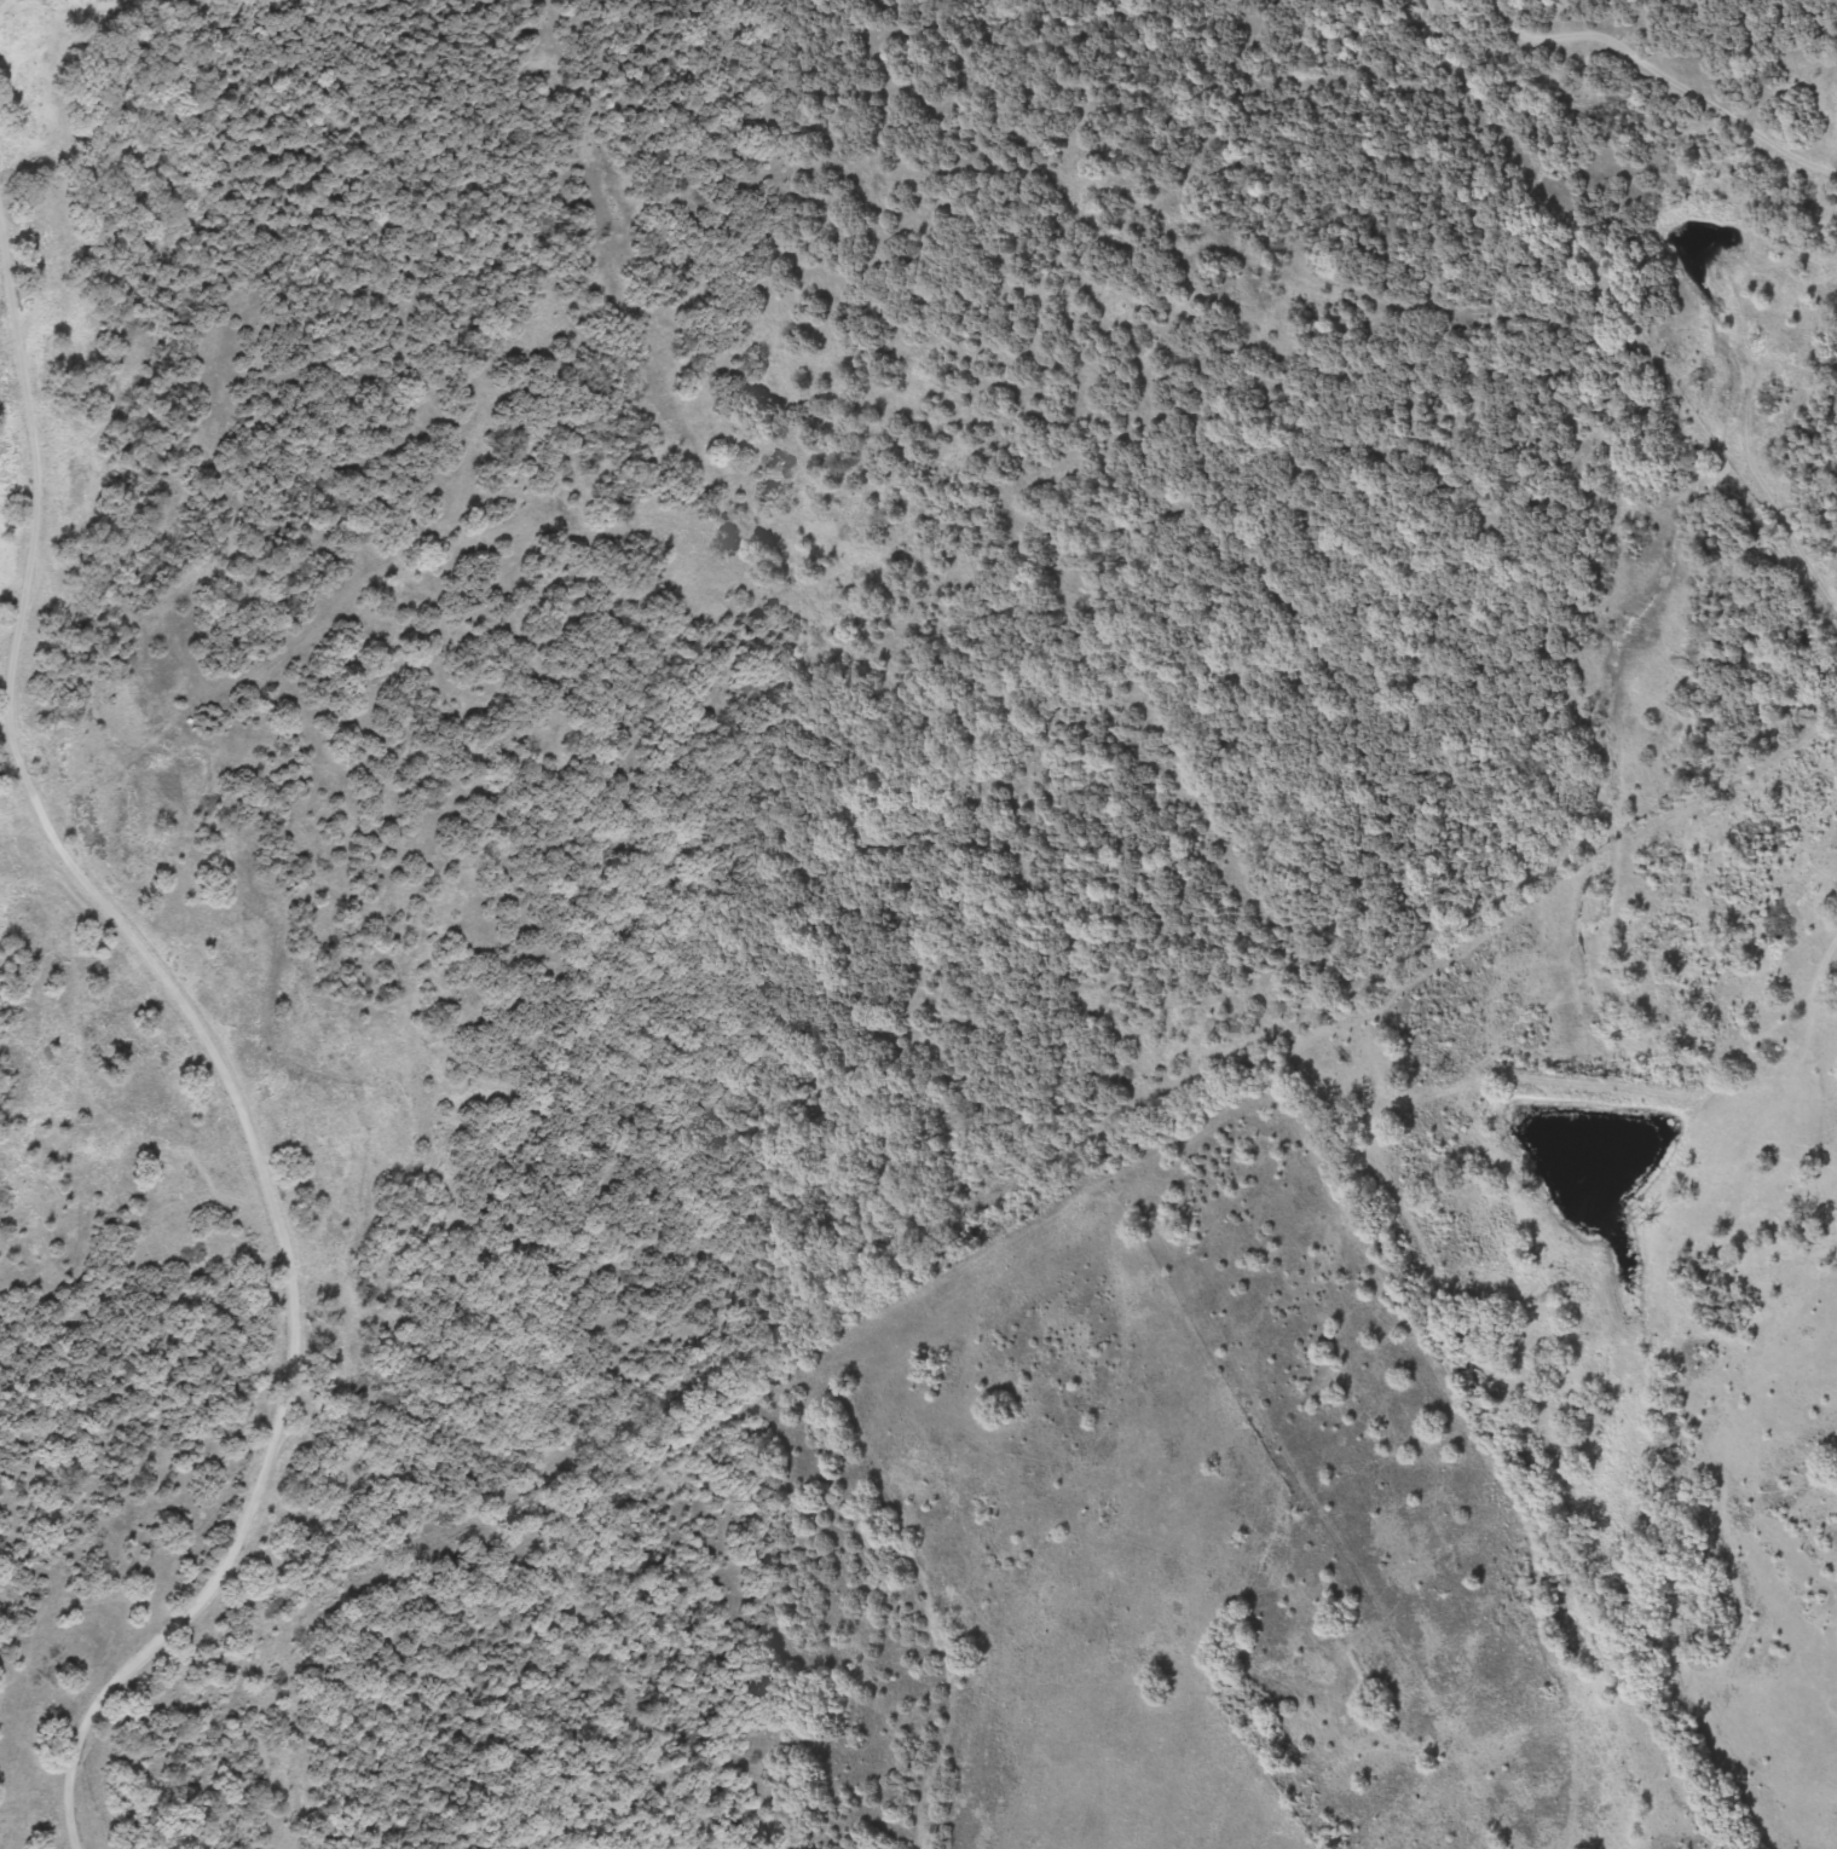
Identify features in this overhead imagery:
road: (204, 1047)

